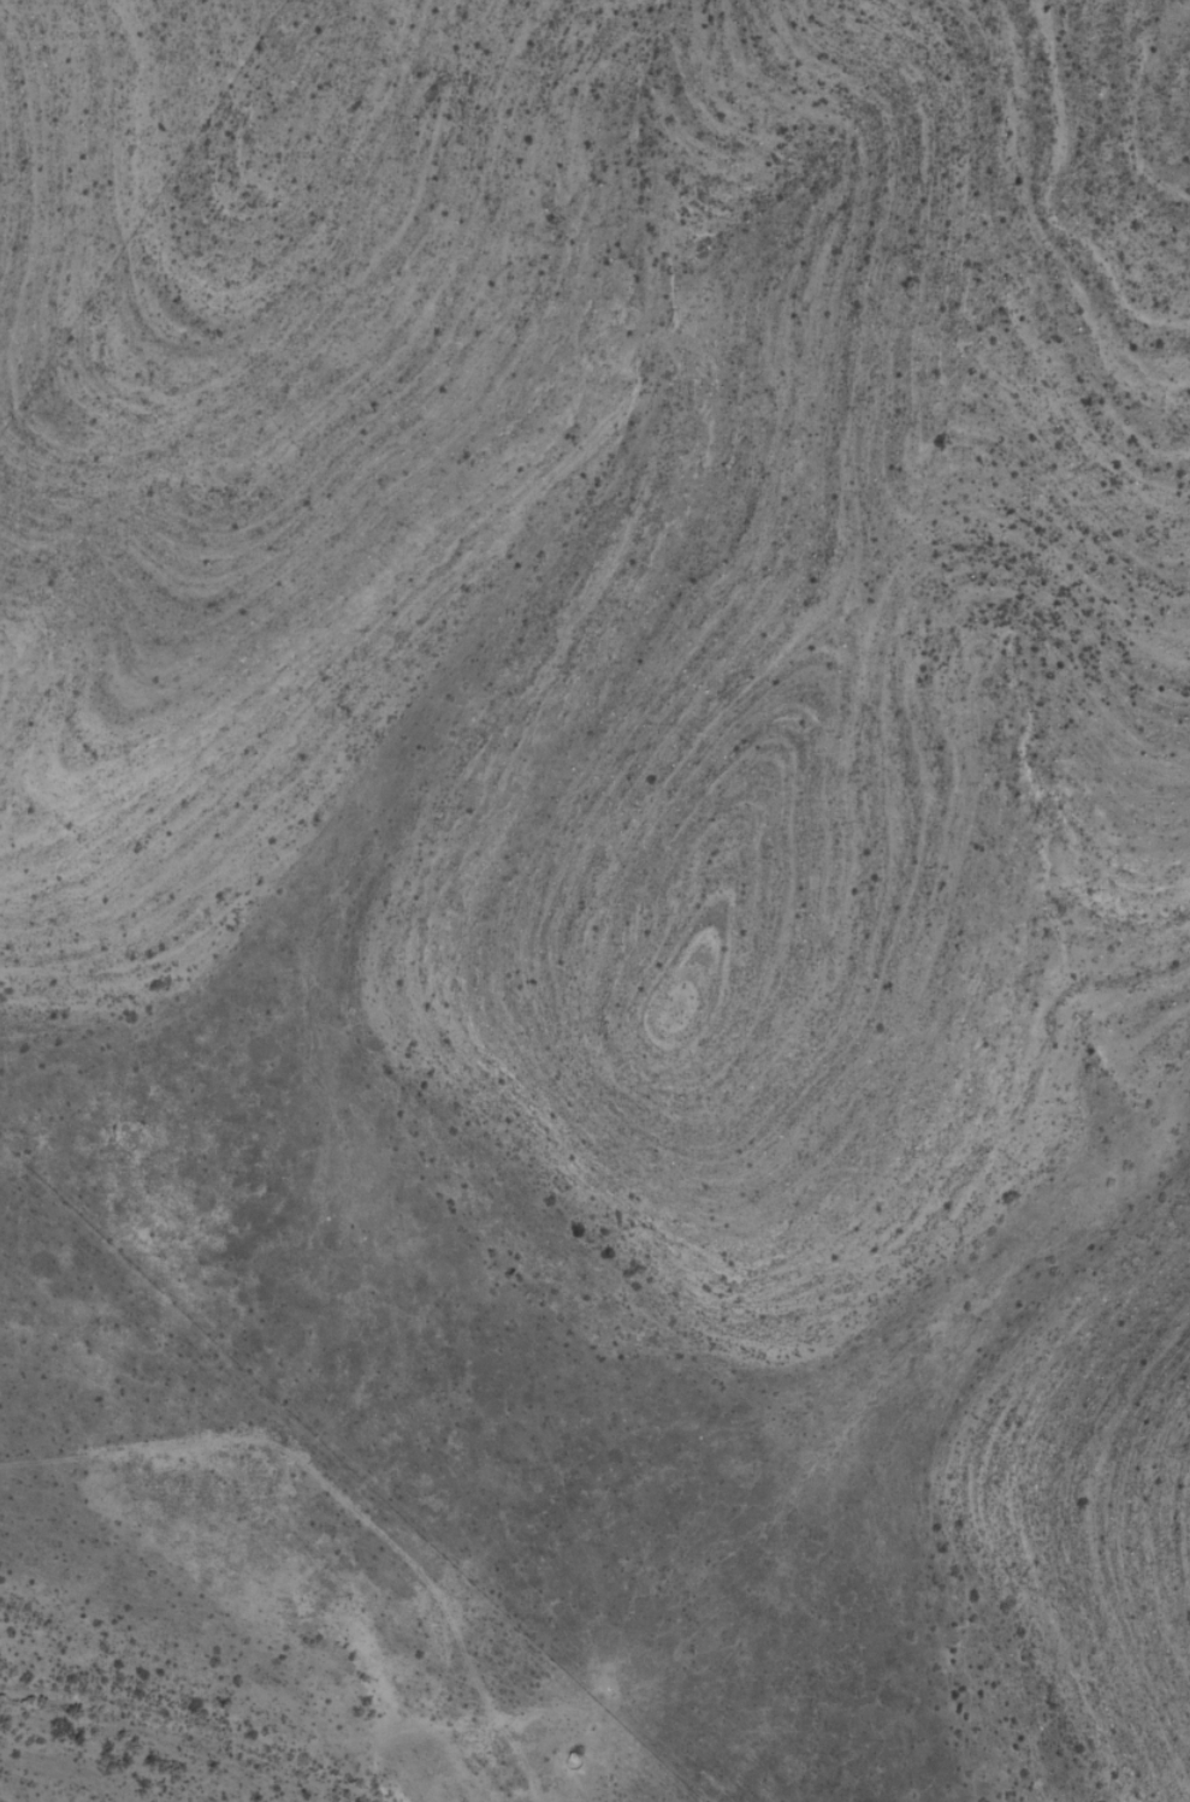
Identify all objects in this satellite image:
building: (574, 1755)
storage tank: (574, 1755)
road: (18, 1796)

